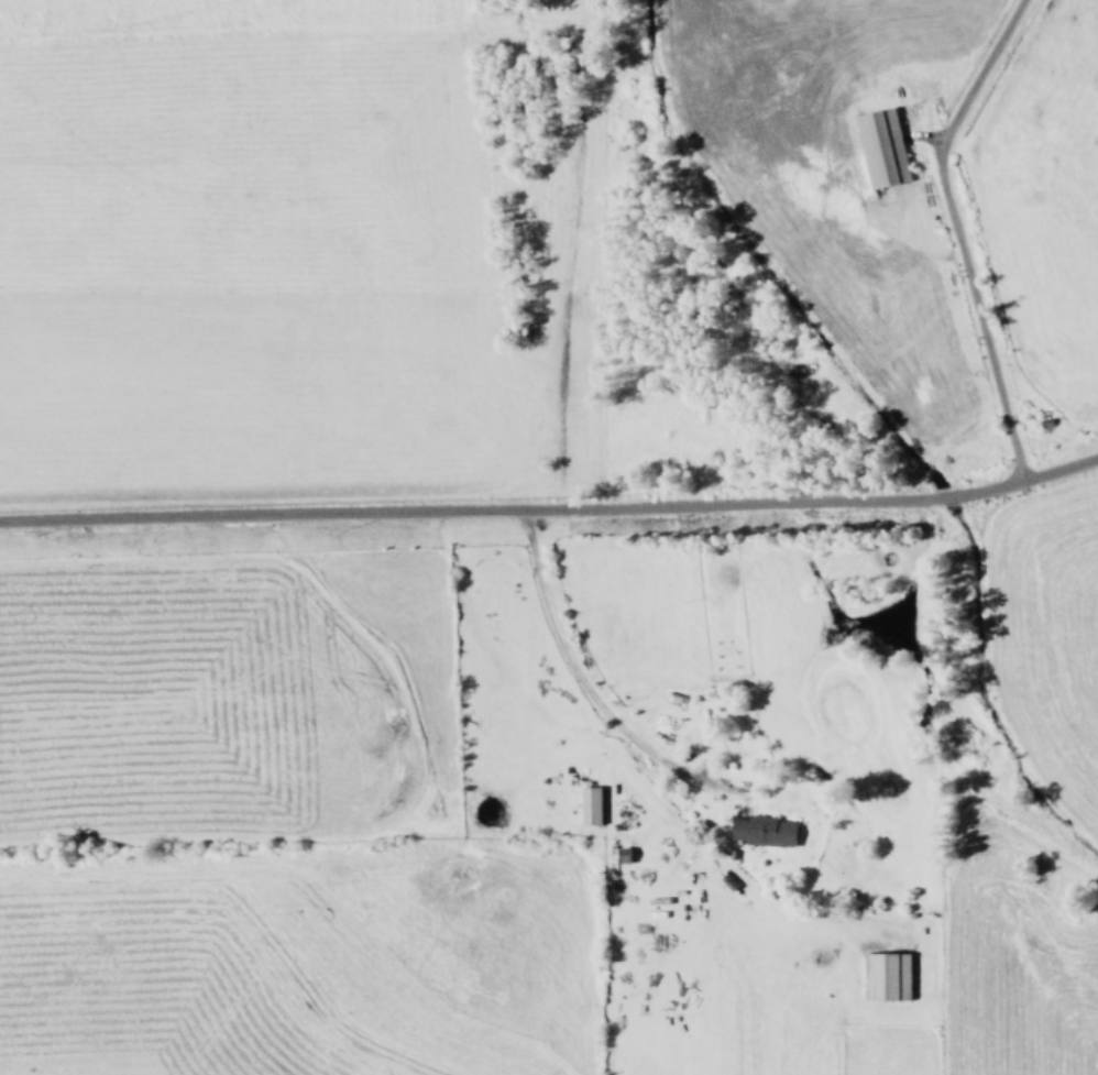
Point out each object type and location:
road: (927, 136)
building: (885, 147)
road: (955, 232)
road: (551, 508)
road: (586, 690)
building: (593, 804)
crop: (496, 827)
building: (765, 830)
building: (888, 975)

